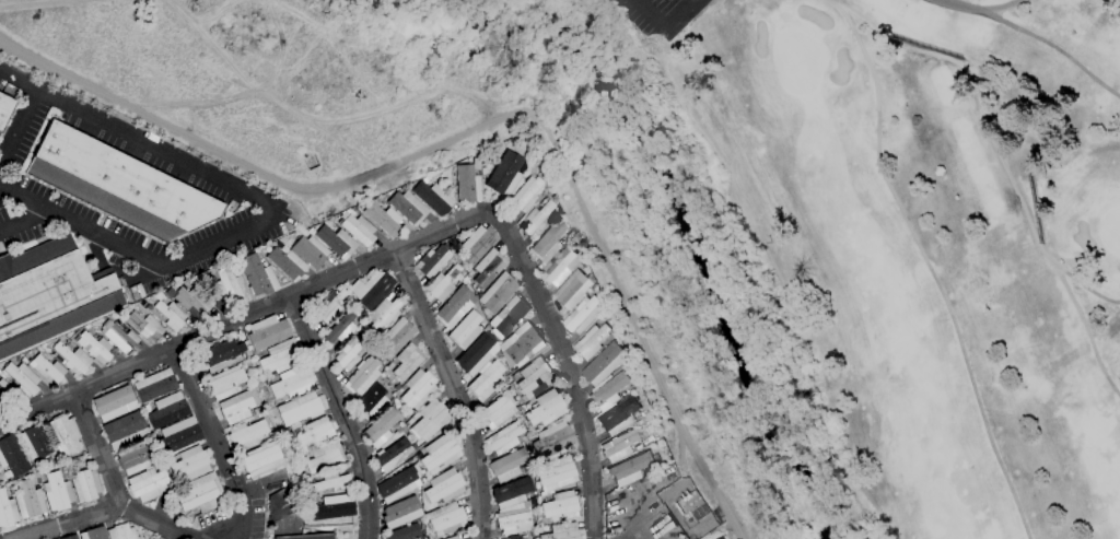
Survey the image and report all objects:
road: (690, 2)
road: (831, 5)
road: (964, 5)
road: (1001, 5)
road: (651, 15)
road: (682, 15)
parking lot: (664, 19)
road: (1054, 49)
building: (4, 109)
road: (20, 125)
road: (480, 128)
parking lot: (27, 136)
parking lot: (140, 156)
road: (1006, 174)
building: (505, 175)
building: (468, 184)
building: (118, 185)
building: (526, 195)
building: (433, 198)
building: (408, 207)
road: (271, 209)
parking lot: (7, 212)
parking lot: (83, 212)
building: (383, 219)
building: (539, 219)
road: (21, 221)
river: (681, 225)
building: (359, 230)
parking lot: (25, 236)
building: (336, 242)
building: (548, 243)
building: (477, 244)
park: (942, 245)
road: (404, 246)
building: (311, 251)
parking lot: (219, 257)
building: (432, 262)
building: (287, 263)
building: (560, 267)
building: (488, 268)
road: (929, 273)
building: (258, 276)
building: (443, 283)
building: (232, 288)
road: (1085, 289)
building: (371, 290)
building: (571, 291)
building: (497, 294)
building: (50, 296)
building: (189, 301)
building: (328, 306)
building: (453, 308)
building: (171, 315)
building: (364, 315)
building: (383, 315)
building: (510, 315)
building: (582, 315)
building: (144, 326)
building: (340, 329)
building: (465, 330)
building: (268, 332)
building: (119, 337)
building: (396, 337)
building: (591, 342)
building: (521, 343)
building: (94, 348)
building: (350, 353)
building: (221, 355)
building: (475, 355)
building: (282, 356)
building: (72, 360)
building: (408, 362)
building: (603, 365)
building: (47, 370)
building: (362, 377)
building: (22, 378)
building: (535, 378)
building: (225, 382)
building: (486, 382)
building: (293, 383)
building: (154, 385)
building: (418, 389)
road: (455, 389)
building: (609, 391)
building: (5, 394)
building: (373, 401)
building: (114, 403)
building: (235, 408)
building: (300, 409)
building: (546, 409)
building: (167, 410)
building: (498, 412)
road: (342, 413)
building: (618, 417)
building: (429, 420)
building: (381, 429)
building: (125, 431)
building: (316, 432)
building: (63, 435)
building: (179, 435)
building: (246, 436)
building: (504, 438)
road: (217, 441)
building: (552, 441)
building: (34, 442)
building: (618, 446)
road: (97, 449)
building: (441, 453)
building: (12, 456)
building: (390, 456)
building: (135, 457)
building: (325, 457)
building: (262, 459)
building: (189, 465)
building: (507, 465)
building: (630, 469)
building: (556, 473)
building: (0, 477)
building: (329, 482)
building: (398, 483)
building: (148, 484)
building: (85, 485)
building: (444, 487)
building: (57, 492)
building: (199, 492)
building: (511, 493)
building: (30, 500)
building: (281, 505)
building: (334, 507)
building: (559, 507)
building: (690, 509)
building: (7, 511)
road: (105, 511)
building: (401, 512)
building: (446, 519)
building: (513, 522)
road: (612, 524)
building: (561, 531)
building: (121, 532)
building: (404, 532)
building: (94, 534)
building: (70, 537)
building: (307, 537)
building: (452, 537)
building: (513, 537)

